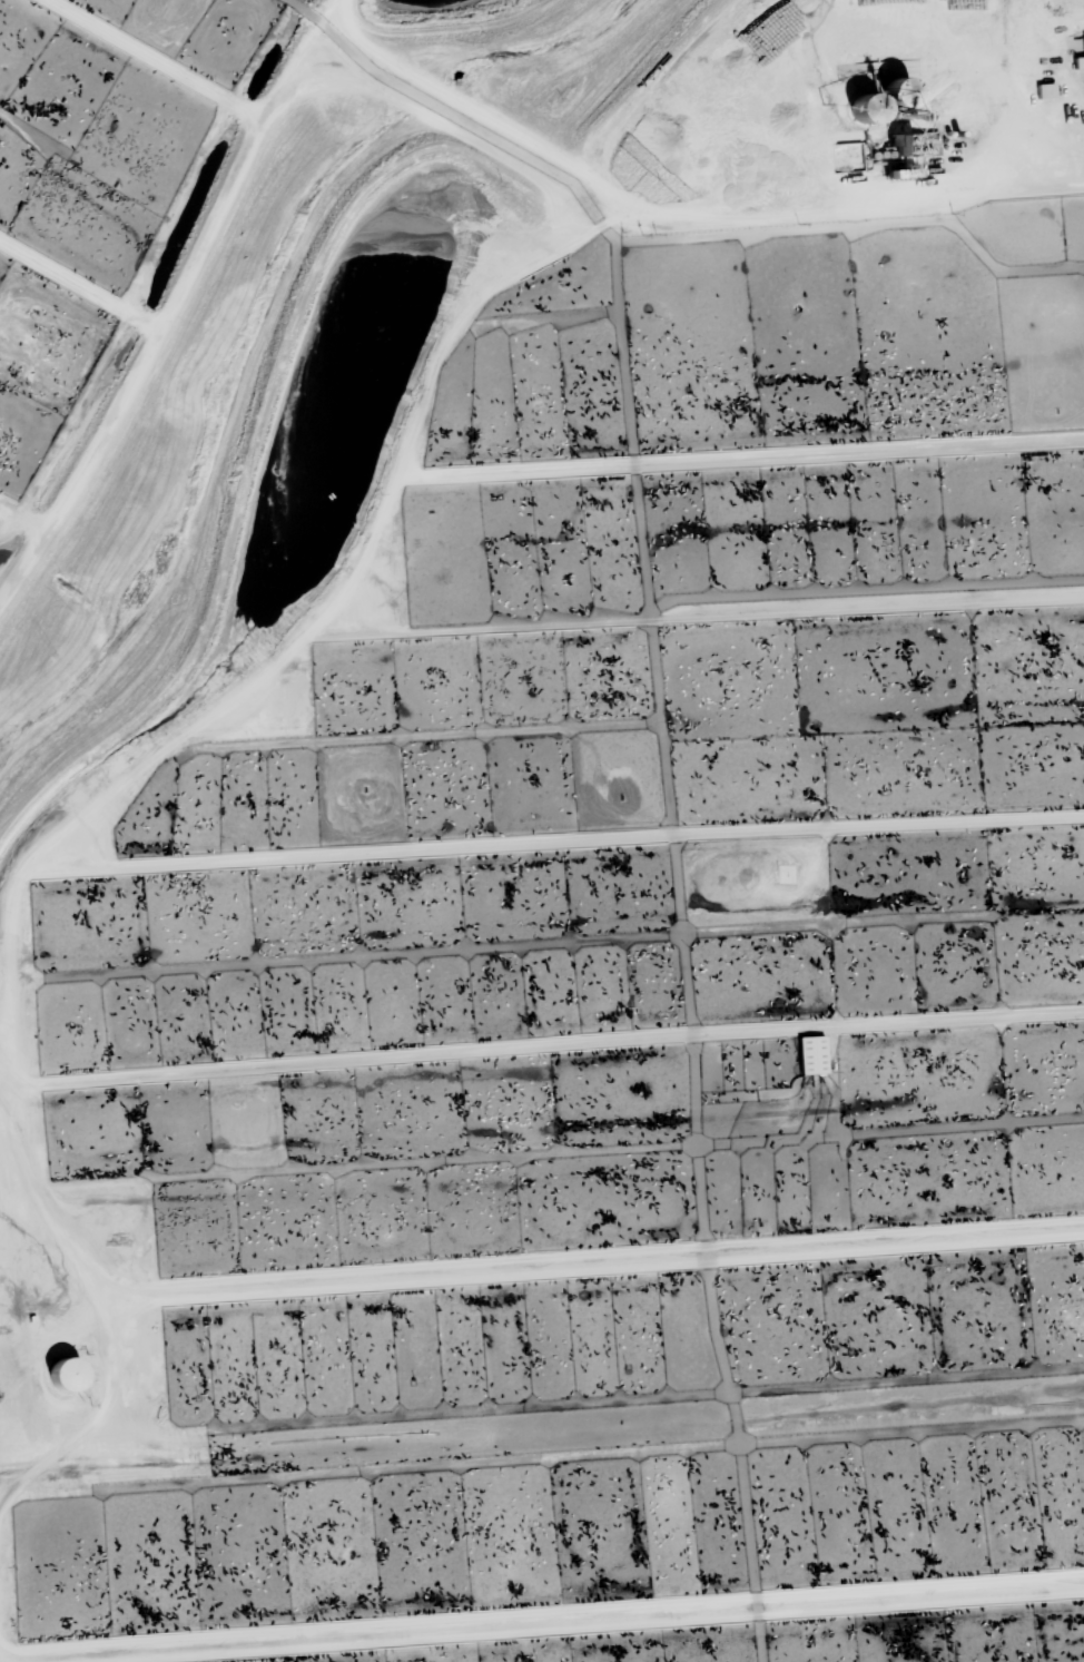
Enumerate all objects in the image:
building: (1078, 62)
building: (1046, 90)
building: (870, 108)
road: (672, 209)
road: (106, 789)
building: (812, 1054)

